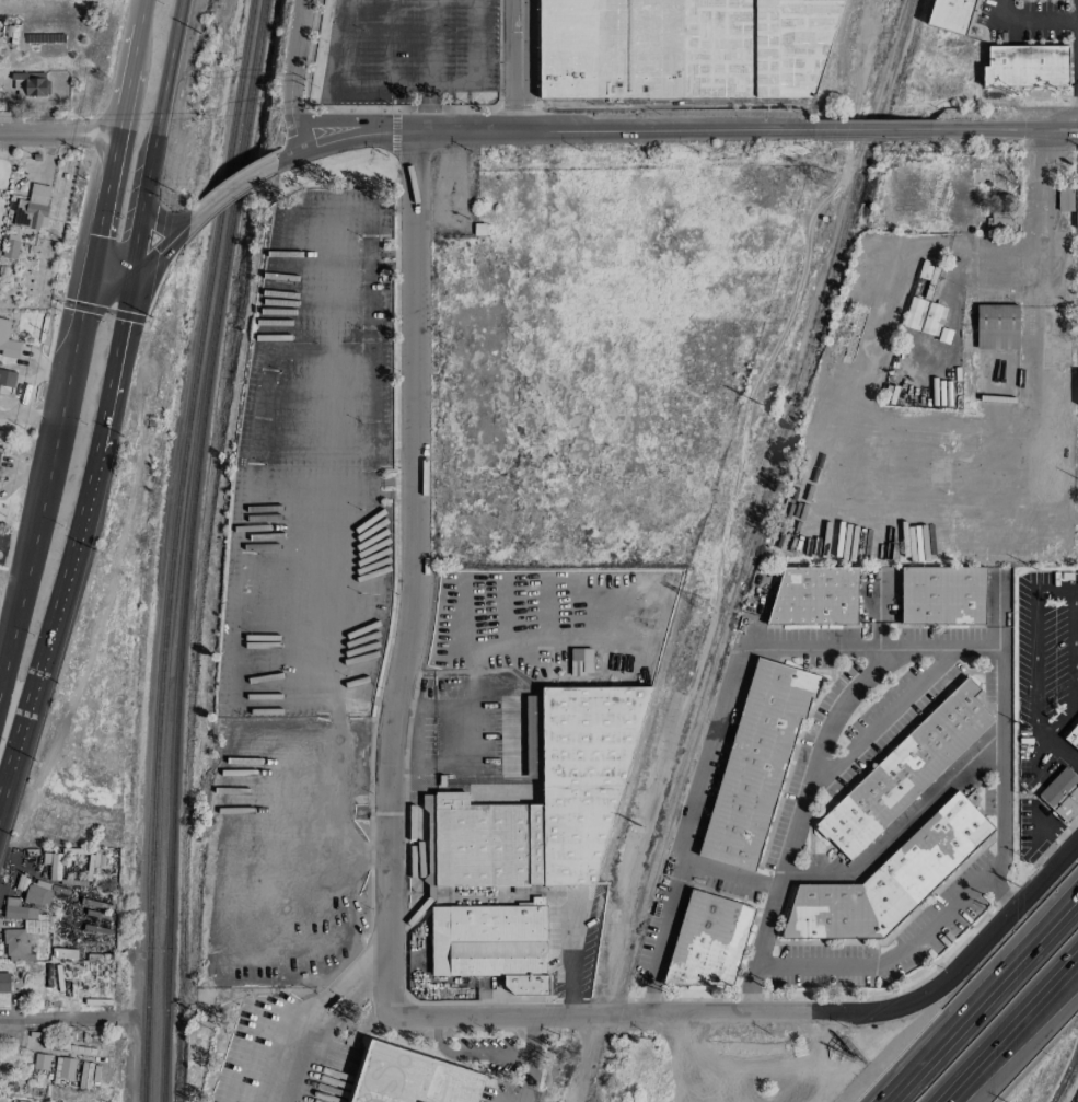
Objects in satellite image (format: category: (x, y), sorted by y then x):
road: (138, 12)
building: (952, 15)
road: (1027, 21)
road: (430, 43)
road: (132, 46)
building: (688, 48)
road: (477, 65)
road: (519, 66)
building: (1025, 67)
road: (291, 77)
road: (344, 83)
building: (28, 84)
road: (123, 101)
road: (429, 108)
road: (341, 120)
road: (1057, 126)
road: (983, 129)
road: (613, 130)
road: (870, 130)
road: (402, 132)
road: (1057, 134)
road: (58, 135)
road: (154, 135)
road: (331, 142)
road: (229, 190)
road: (103, 199)
building: (1065, 199)
building: (1076, 208)
building: (31, 209)
road: (160, 222)
building: (1002, 222)
road: (1036, 227)
building: (10, 246)
road: (160, 250)
road: (370, 258)
traffic signals: (91, 265)
road: (111, 267)
traffic signals: (131, 270)
building: (1009, 297)
building: (924, 317)
building: (996, 327)
building: (8, 343)
road: (114, 359)
road: (1041, 378)
building: (7, 379)
building: (1076, 386)
road: (329, 461)
road: (46, 467)
road: (366, 488)
road: (348, 489)
railway: (177, 548)
railway: (190, 548)
railway: (750, 550)
road: (413, 575)
road: (1055, 590)
building: (941, 595)
building: (814, 596)
road: (1075, 599)
road: (51, 626)
road: (1076, 658)
building: (580, 661)
road: (877, 719)
building: (1073, 738)
road: (1062, 751)
road: (999, 752)
building: (755, 762)
building: (904, 772)
building: (1062, 796)
building: (542, 800)
road: (900, 828)
road: (1053, 828)
road: (727, 879)
building: (889, 880)
building: (37, 895)
road: (999, 921)
building: (709, 941)
building: (491, 946)
building: (63, 953)
road: (1050, 981)
building: (4, 983)
road: (749, 986)
road: (1050, 986)
road: (980, 996)
road: (651, 1012)
road: (57, 1019)
road: (311, 1021)
road: (531, 1034)
road: (467, 1054)
road: (980, 1056)
building: (40, 1062)
building: (63, 1068)
building: (409, 1078)
road: (528, 1080)

